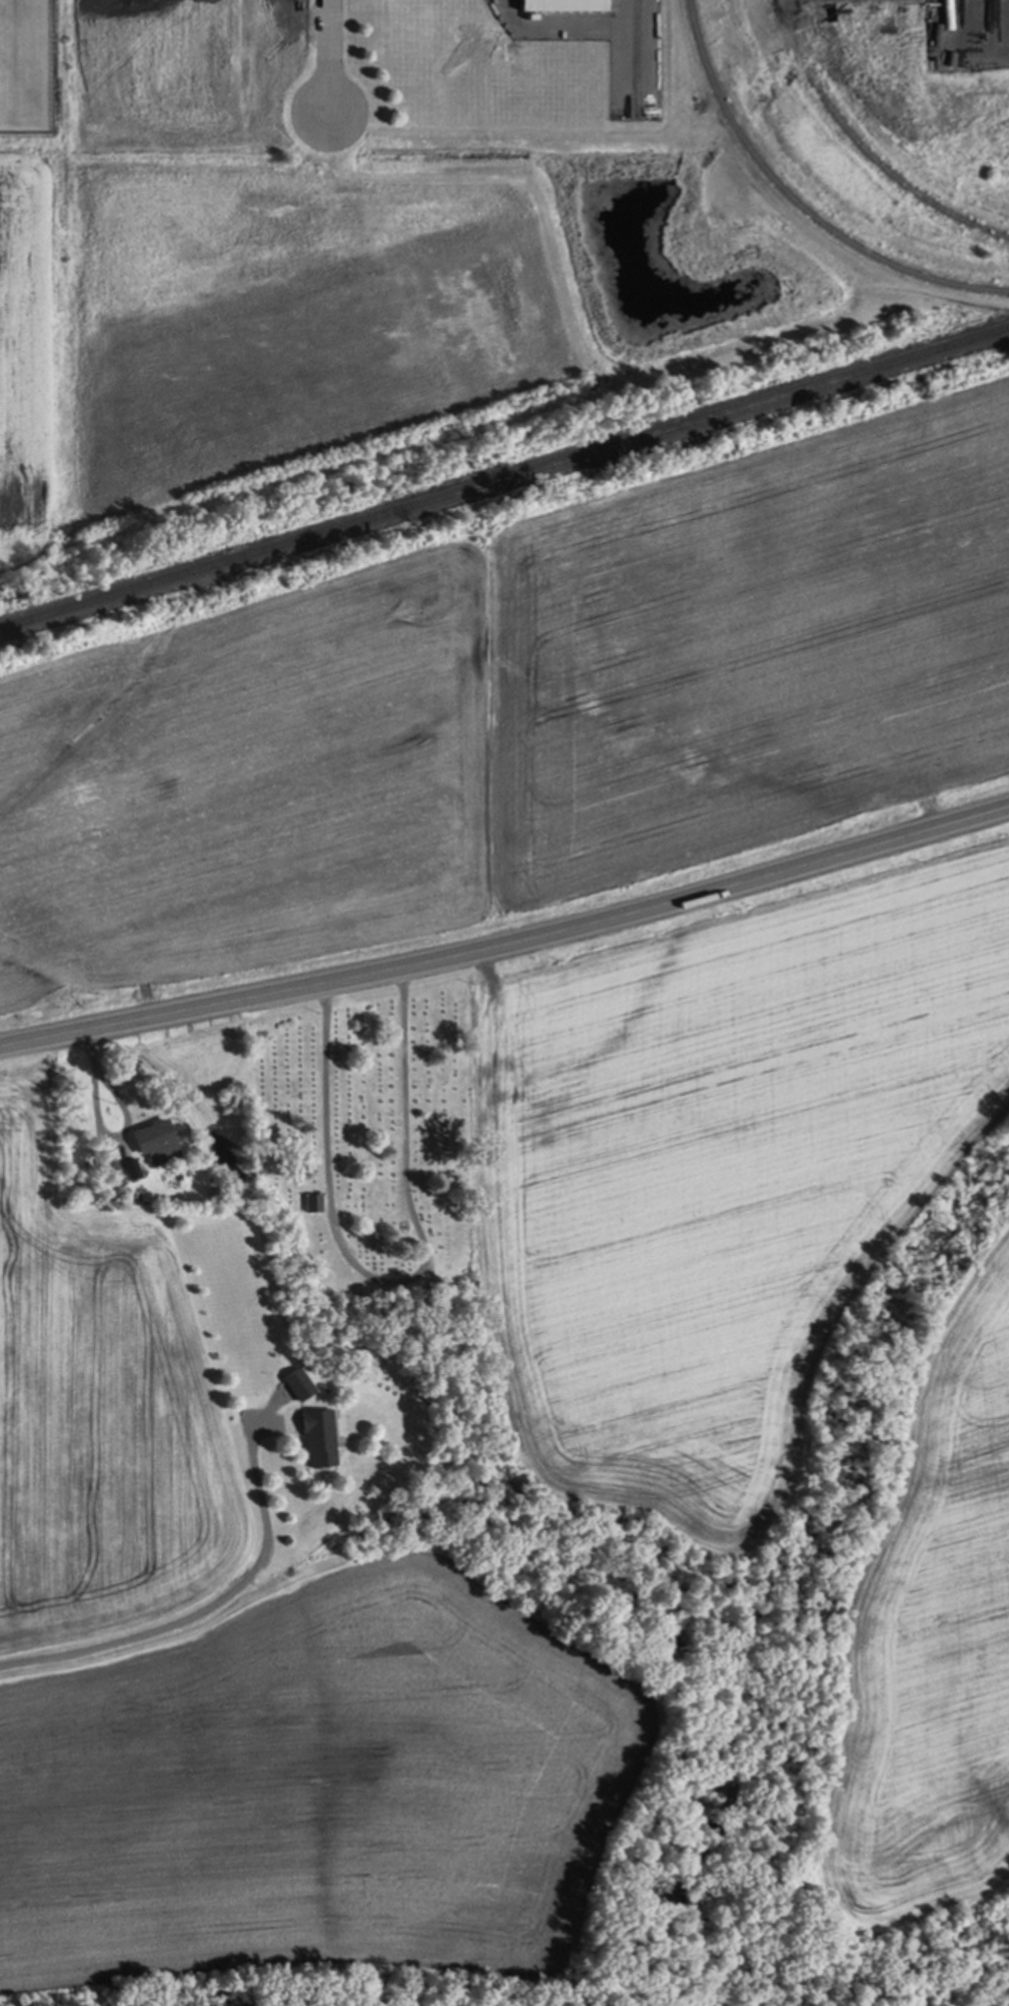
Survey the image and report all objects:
building: (564, 5)
road: (324, 55)
railway: (632, 56)
railway: (861, 149)
railway: (795, 203)
crop: (21, 355)
railway: (504, 477)
crop: (517, 721)
road: (508, 944)
building: (156, 1144)
crop: (722, 1161)
park: (375, 1167)
building: (132, 1171)
building: (113, 1177)
building: (313, 1205)
road: (395, 1281)
crop: (93, 1365)
building: (297, 1386)
building: (318, 1439)
road: (208, 1609)
crop: (928, 1626)
crop: (309, 1770)

